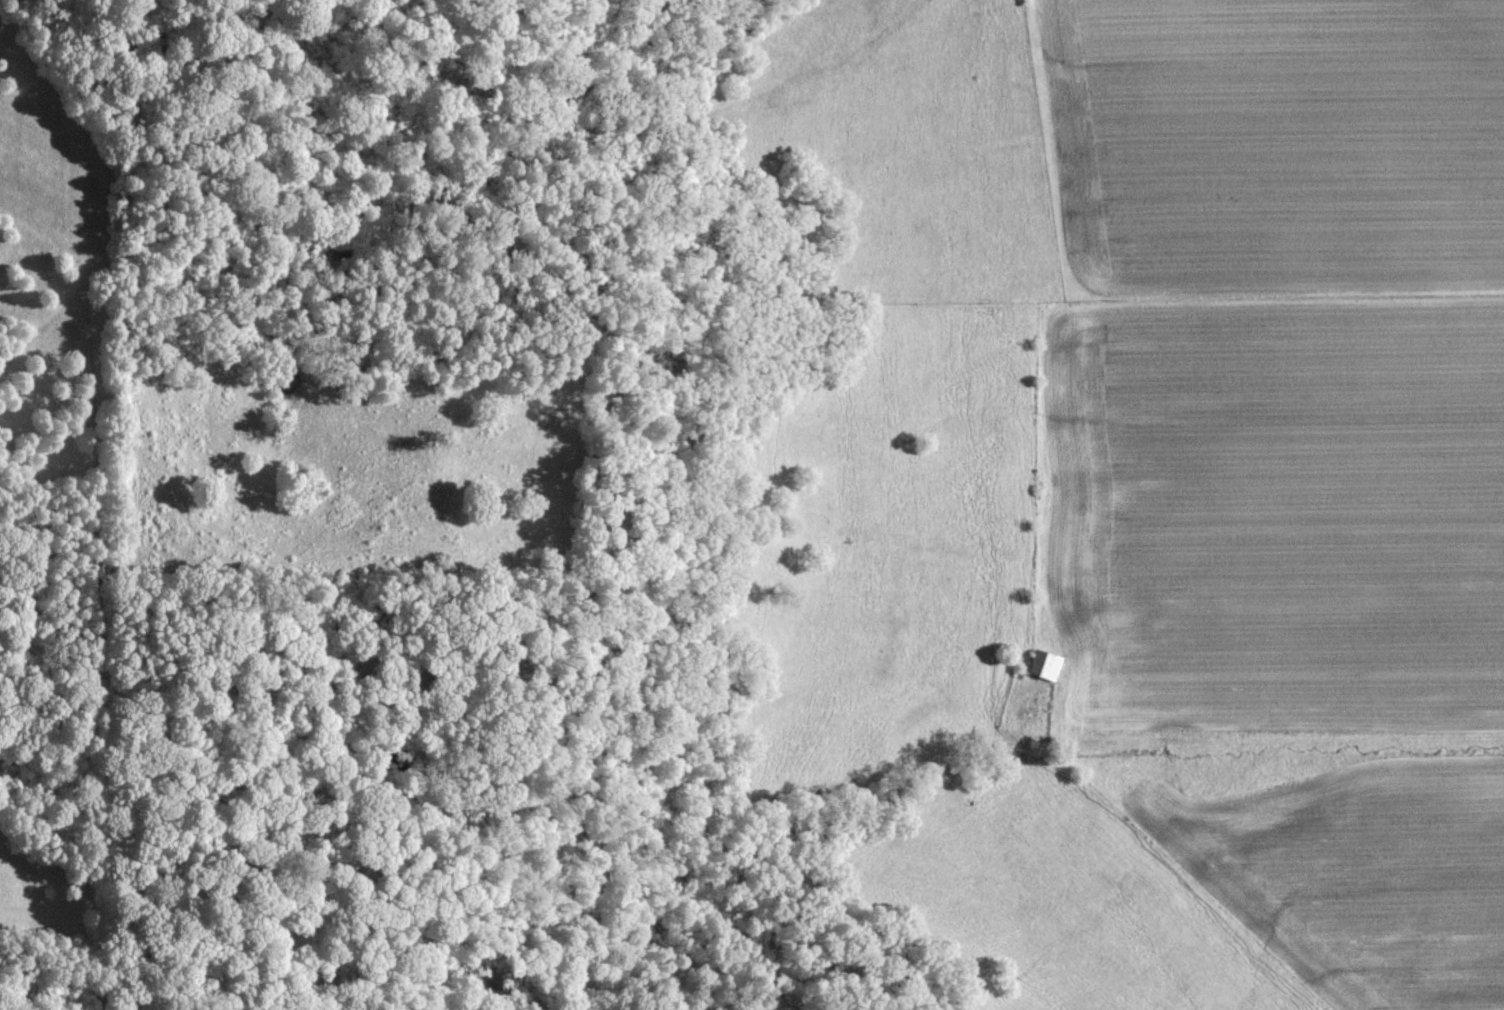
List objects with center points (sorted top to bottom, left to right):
building: (1043, 665)

